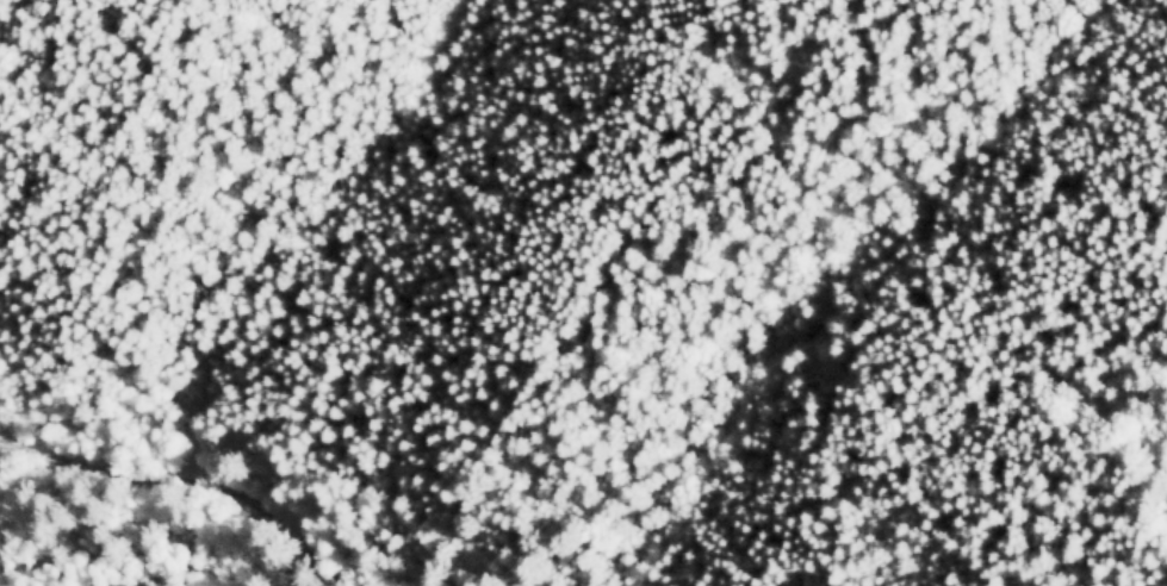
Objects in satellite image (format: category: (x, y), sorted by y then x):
road: (184, 480)

